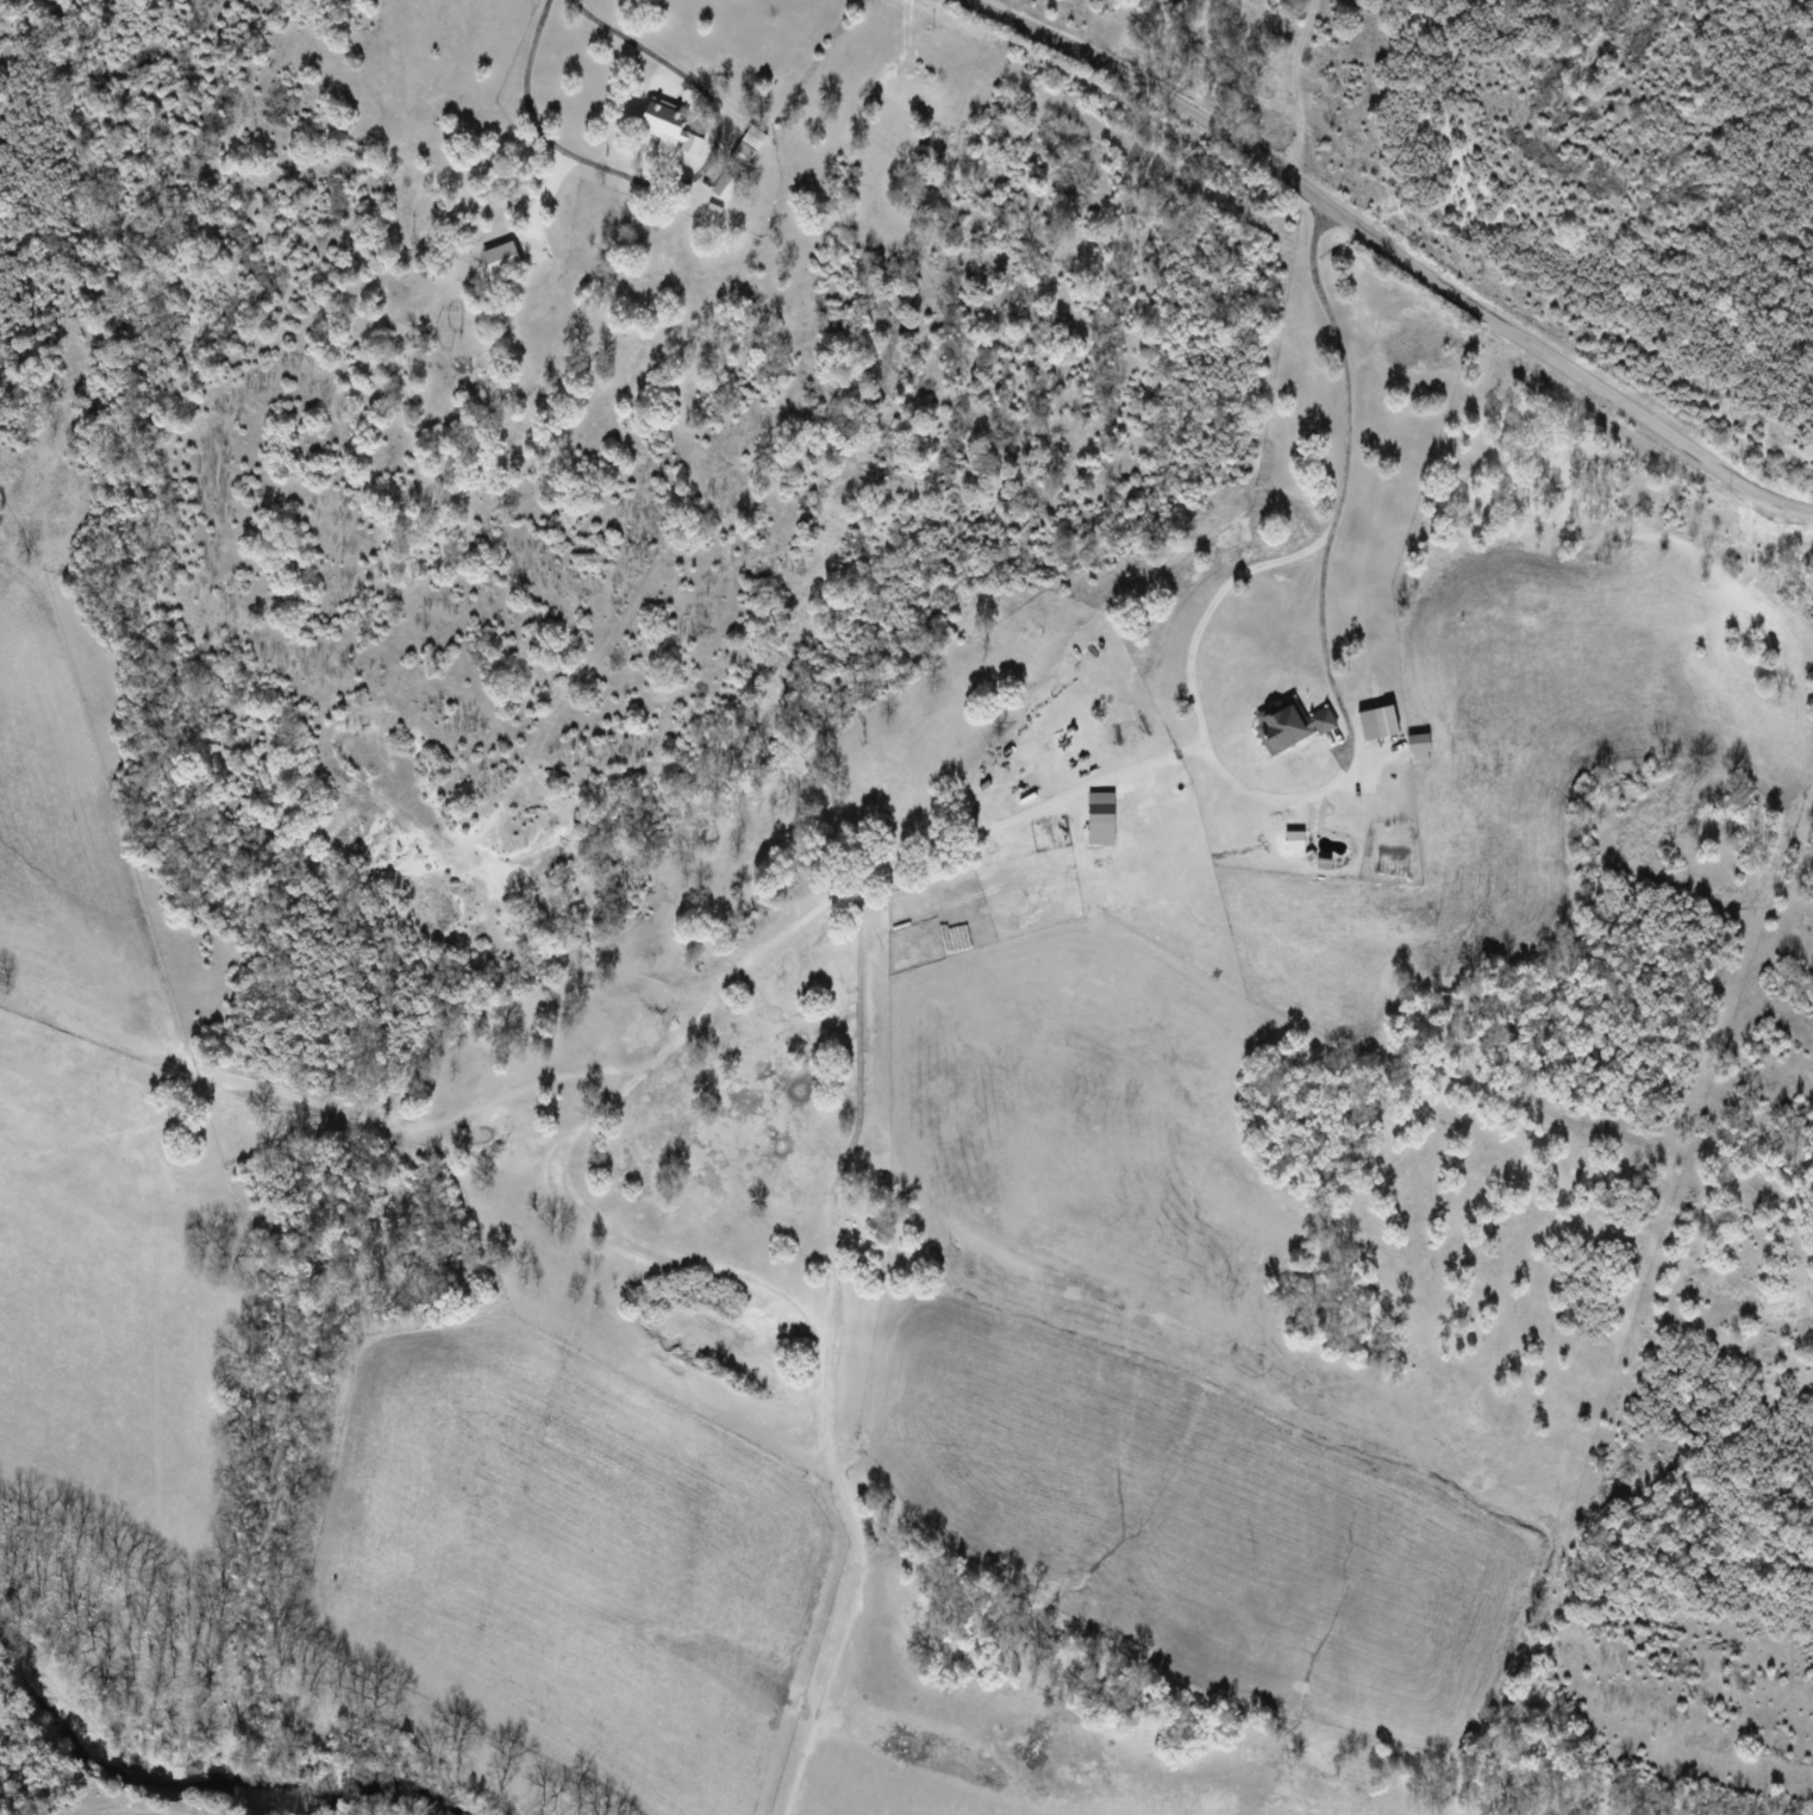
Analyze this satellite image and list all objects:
building: (669, 125)
building: (742, 155)
building: (726, 186)
road: (1403, 257)
building: (1378, 722)
building: (1296, 726)
building: (1101, 818)

